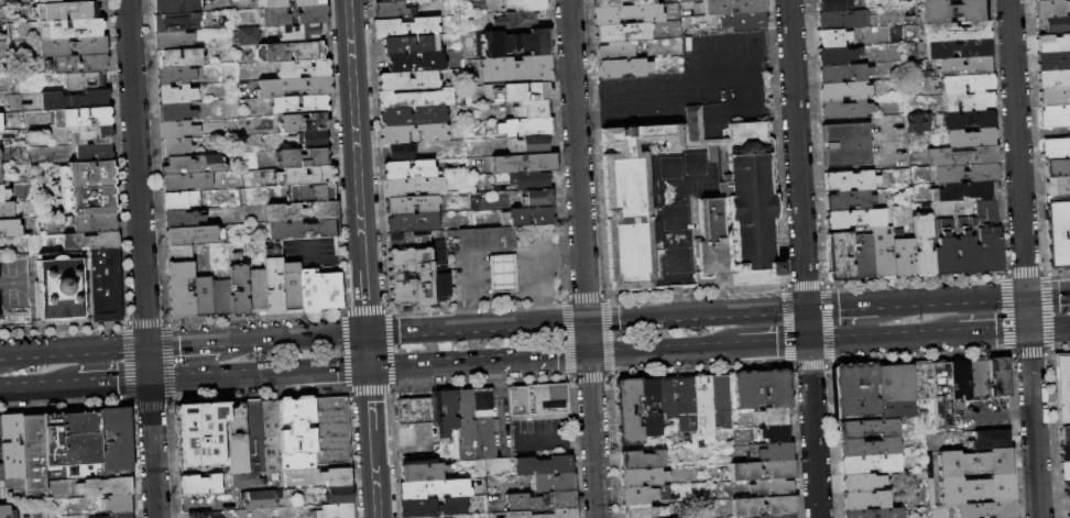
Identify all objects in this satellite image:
building: (394, 0)
building: (684, 0)
building: (926, 0)
building: (1039, 0)
building: (62, 1)
building: (621, 2)
building: (286, 3)
building: (526, 4)
building: (836, 4)
building: (177, 7)
building: (734, 7)
building: (1051, 8)
building: (66, 11)
building: (391, 11)
building: (954, 11)
building: (627, 14)
building: (295, 16)
building: (841, 20)
building: (175, 22)
building: (516, 22)
building: (743, 22)
building: (1056, 24)
building: (406, 27)
building: (70, 29)
building: (623, 32)
building: (957, 32)
building: (298, 33)
building: (248, 36)
building: (833, 37)
building: (172, 41)
building: (516, 43)
building: (1053, 43)
building: (410, 45)
building: (74, 46)
building: (960, 49)
building: (616, 51)
building: (290, 52)
building: (838, 56)
building: (178, 59)
road: (739, 60)
building: (1052, 62)
building: (416, 63)
building: (79, 64)
building: (965, 67)
building: (623, 68)
building: (304, 69)
building: (517, 69)
building: (844, 74)
building: (178, 76)
building: (1053, 79)
building: (408, 80)
building: (83, 81)
building: (967, 84)
building: (294, 87)
building: (844, 90)
building: (522, 92)
building: (176, 95)
building: (1055, 97)
building: (415, 99)
building: (75, 100)
building: (968, 102)
building: (298, 104)
building: (845, 108)
building: (533, 110)
road: (768, 111)
building: (176, 112)
building: (413, 117)
building: (1056, 117)
building: (81, 118)
building: (969, 120)
building: (1, 122)
building: (915, 122)
building: (303, 123)
road: (354, 123)
building: (527, 128)
building: (177, 130)
building: (90, 134)
building: (414, 134)
building: (971, 137)
building: (313, 140)
building: (529, 145)
building: (847, 145)
building: (176, 147)
building: (1056, 150)
building: (91, 152)
building: (403, 152)
building: (0, 155)
building: (962, 155)
building: (303, 158)
road: (577, 161)
building: (525, 163)
building: (193, 165)
building: (1057, 168)
building: (410, 169)
building: (967, 174)
building: (91, 175)
building: (306, 176)
building: (0, 178)
building: (529, 180)
building: (851, 180)
building: (187, 183)
building: (1058, 186)
building: (414, 188)
building: (314, 192)
building: (964, 192)
building: (3, 194)
building: (638, 195)
building: (536, 198)
building: (753, 199)
building: (181, 200)
building: (94, 201)
building: (850, 201)
building: (411, 206)
building: (940, 207)
building: (1069, 208)
building: (987, 210)
building: (7, 211)
building: (303, 211)
building: (531, 217)
building: (184, 219)
building: (855, 219)
building: (96, 223)
building: (412, 223)
building: (25, 224)
building: (713, 227)
building: (10, 229)
building: (304, 230)
building: (1058, 233)
building: (194, 235)
building: (485, 239)
building: (90, 242)
building: (924, 245)
road: (567, 246)
road: (538, 249)
building: (272, 250)
building: (991, 250)
building: (439, 251)
road: (309, 252)
building: (181, 253)
building: (884, 253)
building: (904, 254)
building: (964, 254)
building: (840, 256)
building: (863, 256)
building: (942, 256)
road: (142, 258)
road: (802, 258)
road: (1024, 258)
road: (336, 260)
building: (401, 269)
building: (501, 272)
gas station: (501, 272)
road: (471, 276)
park: (13, 284)
building: (440, 285)
building: (106, 286)
building: (238, 286)
building: (274, 286)
road: (541, 286)
building: (61, 287)
building: (292, 288)
building: (321, 289)
building: (182, 290)
road: (363, 290)
building: (256, 293)
road: (1047, 294)
building: (204, 296)
traffic signals: (1026, 296)
building: (221, 298)
road: (954, 300)
road: (844, 307)
traffic signals: (806, 309)
road: (472, 312)
road: (740, 312)
road: (631, 318)
traffic signals: (587, 321)
road: (491, 327)
road: (1049, 327)
traffic signals: (1028, 329)
road: (993, 330)
road: (381, 333)
traffic signals: (367, 334)
road: (883, 337)
road: (298, 338)
road: (588, 338)
traffic signals: (808, 341)
road: (771, 343)
road: (188, 344)
traffic signals: (148, 346)
road: (75, 350)
road: (368, 350)
road: (660, 350)
road: (1, 354)
traffic signals: (589, 354)
road: (479, 360)
traffic signals: (369, 366)
road: (354, 367)
road: (244, 374)
building: (995, 376)
building: (976, 377)
building: (960, 378)
traffic signals: (149, 379)
road: (112, 382)
building: (895, 382)
road: (39, 385)
building: (1062, 387)
building: (758, 388)
building: (855, 389)
building: (922, 397)
building: (941, 397)
road: (369, 398)
building: (535, 398)
building: (667, 399)
building: (720, 400)
building: (685, 405)
road: (417, 406)
road: (424, 406)
building: (649, 407)
building: (896, 409)
building: (702, 410)
building: (413, 411)
building: (629, 411)
building: (446, 412)
parking lot: (983, 415)
building: (774, 416)
building: (482, 425)
building: (465, 426)
building: (869, 427)
building: (0, 430)
building: (330, 431)
building: (775, 433)
building: (1064, 434)
building: (200, 436)
building: (296, 436)
road: (593, 436)
building: (270, 437)
parking lot: (537, 437)
road: (578, 437)
building: (253, 439)
road: (537, 439)
building: (990, 439)
building: (72, 440)
building: (116, 440)
building: (236, 440)
building: (869, 444)
road: (417, 449)
road: (387, 450)
building: (12, 451)
building: (775, 451)
building: (1064, 452)
building: (34, 454)
building: (642, 460)
building: (974, 462)
building: (871, 463)
building: (542, 465)
building: (763, 470)
building: (424, 471)
building: (1064, 471)
road: (374, 474)
building: (1, 477)
building: (336, 477)
building: (642, 477)
building: (245, 480)
building: (861, 482)
building: (553, 483)
building: (199, 485)
building: (106, 487)
building: (773, 487)
building: (976, 488)
building: (1066, 488)
building: (434, 489)
building: (339, 495)
building: (637, 495)
building: (865, 499)
building: (259, 500)
building: (541, 500)
parking lot: (205, 503)
building: (118, 504)
building: (1068, 504)
building: (763, 506)
building: (432, 507)
building: (986, 509)
building: (643, 510)
building: (336, 511)
building: (7, 513)
building: (873, 513)
building: (544, 514)
building: (205, 515)
building: (121, 516)
building: (778, 516)
building: (1067, 516)
building: (425, 517)

